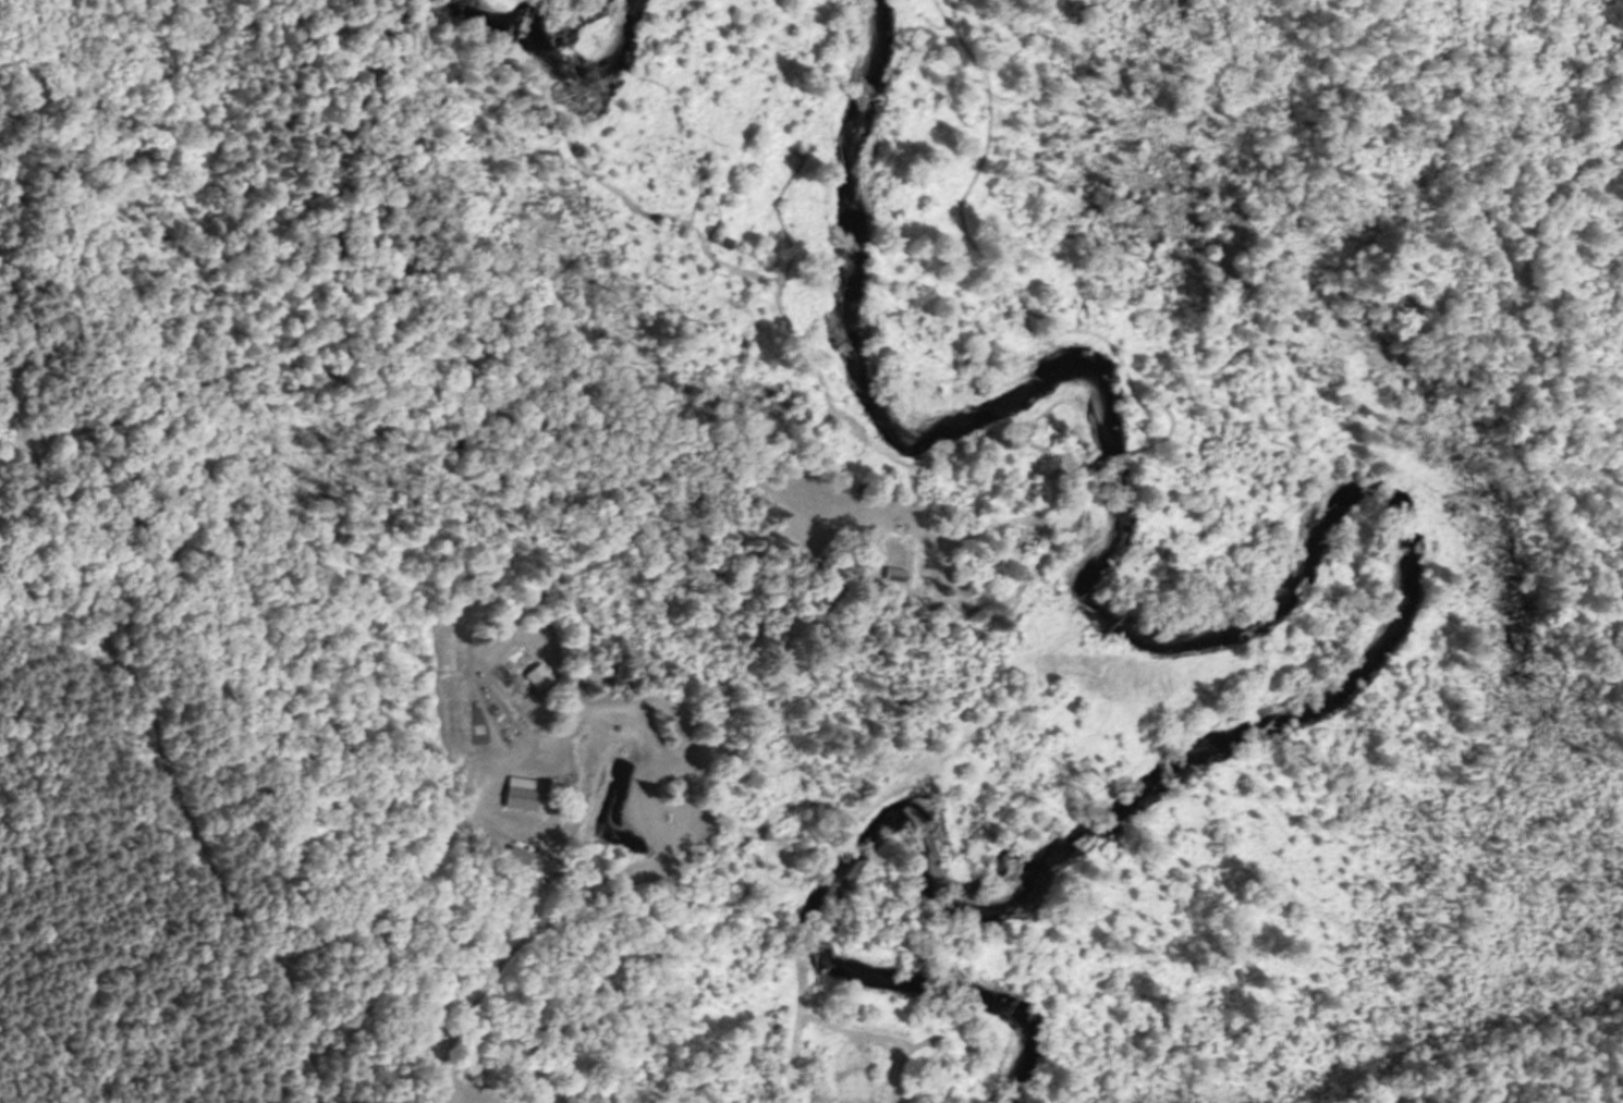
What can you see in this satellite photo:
road: (364, 526)
river: (1386, 564)
building: (516, 667)
road: (151, 789)

